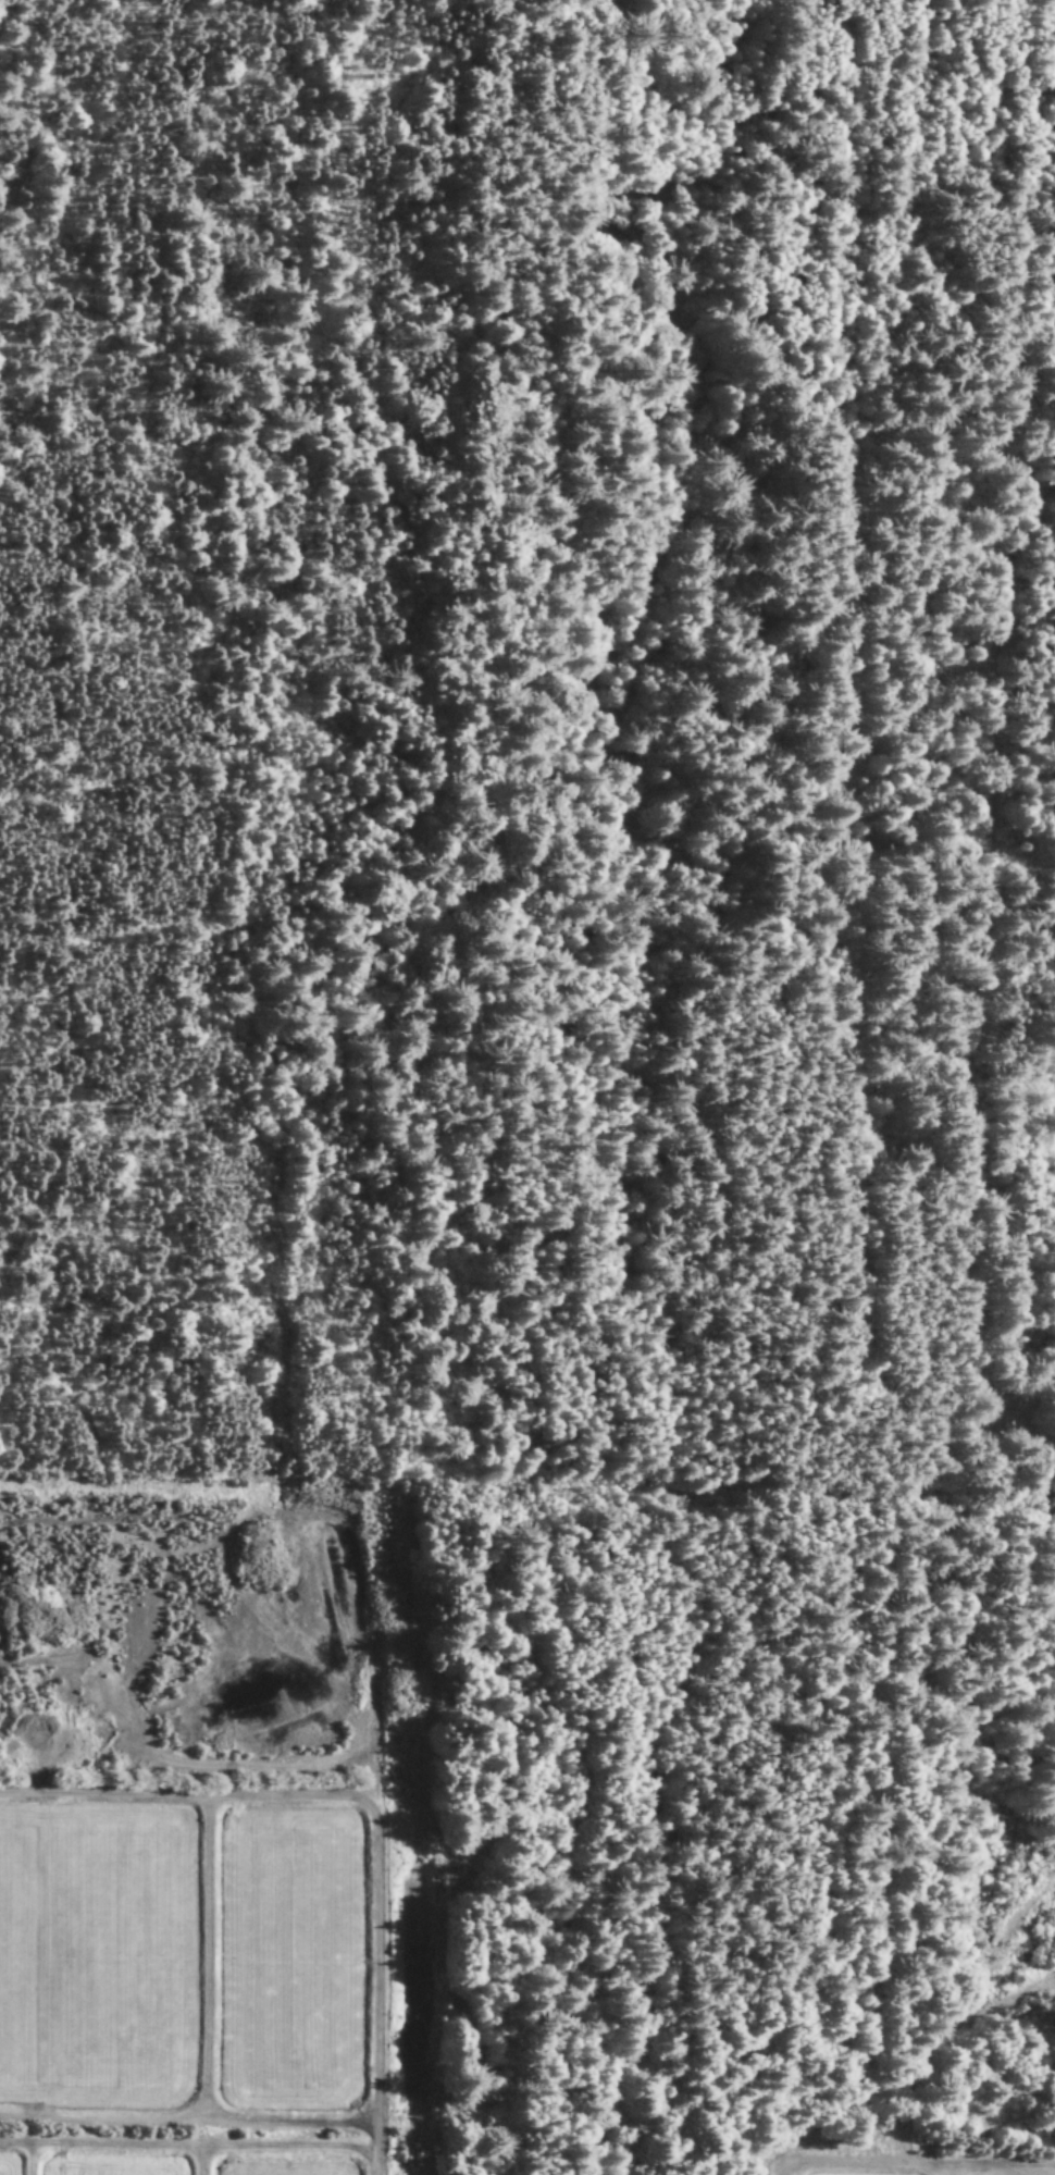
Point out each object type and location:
crop: (8, 1954)
crop: (116, 1958)
crop: (288, 1962)
crop: (110, 2167)
crop: (287, 2170)
crop: (5, 2171)

